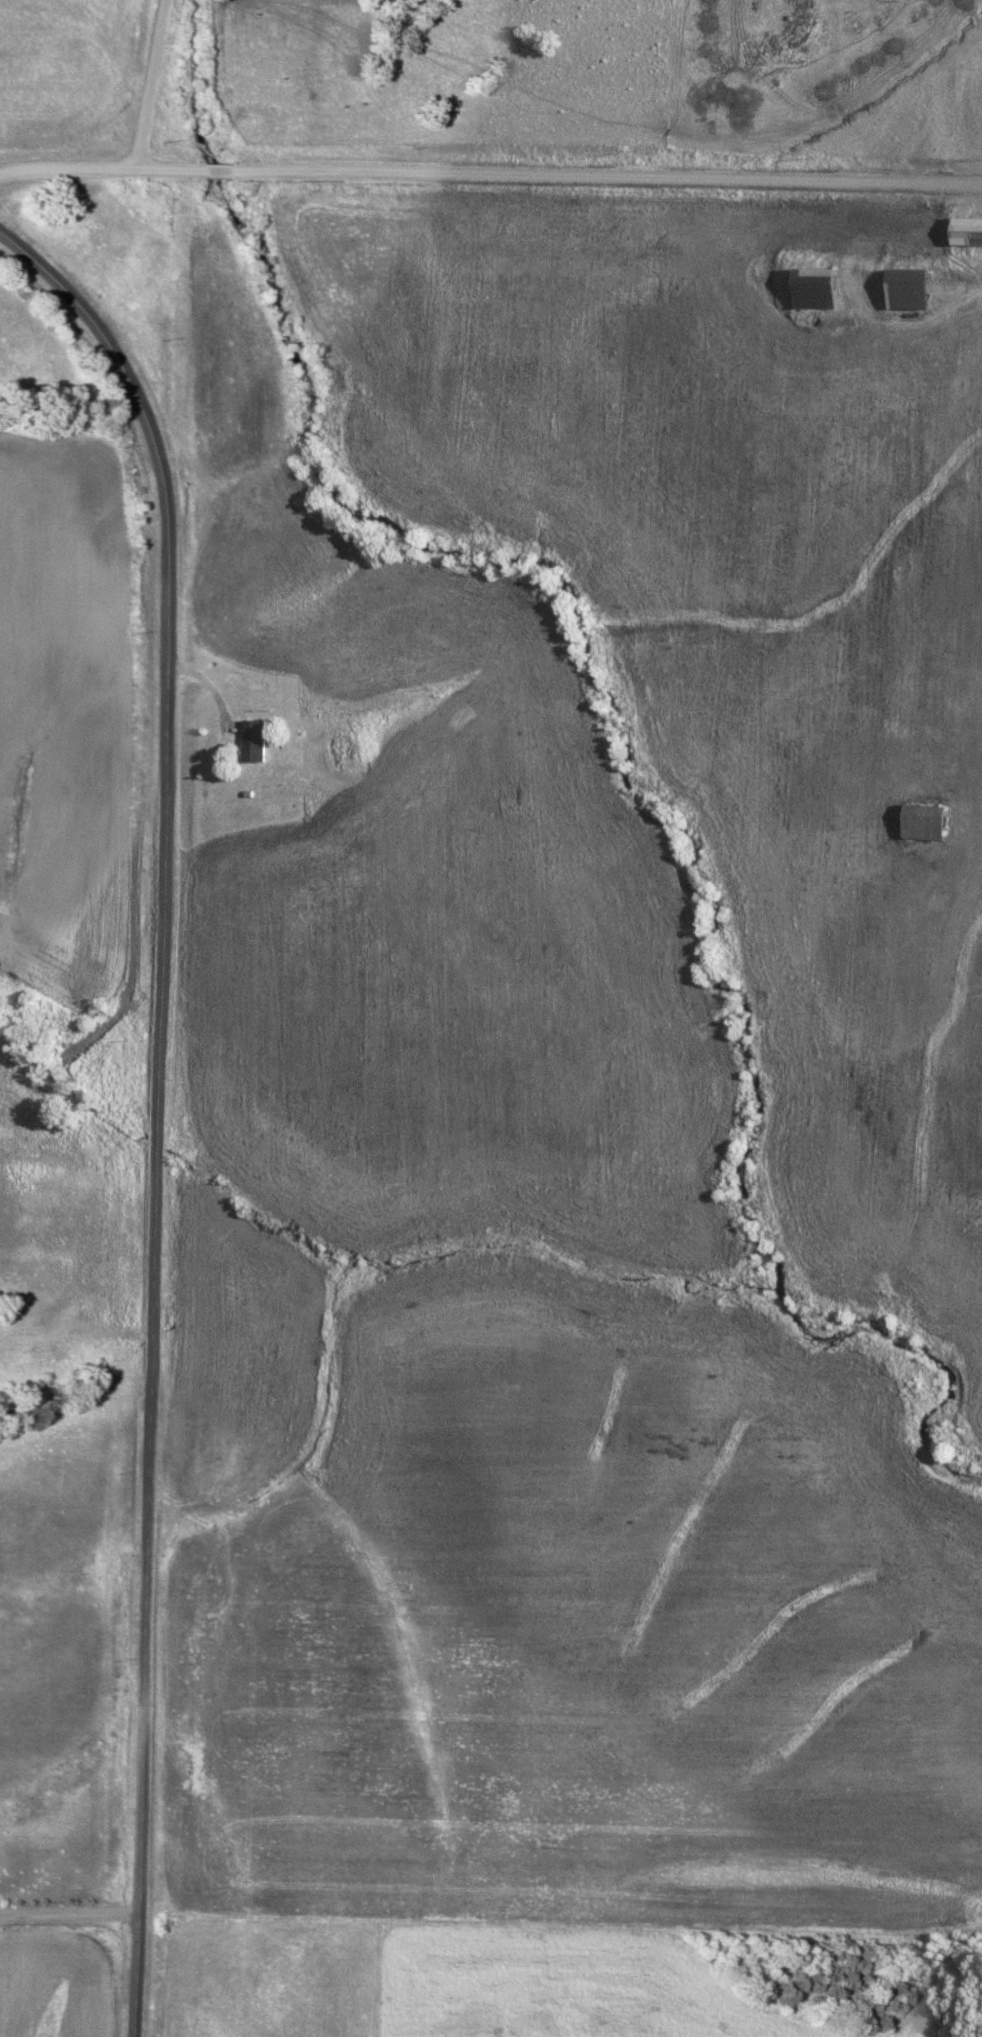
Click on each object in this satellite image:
road: (149, 86)
road: (927, 92)
road: (490, 177)
building: (968, 231)
building: (815, 289)
building: (908, 290)
building: (255, 741)
building: (926, 824)
road: (156, 1107)
road: (68, 1907)

